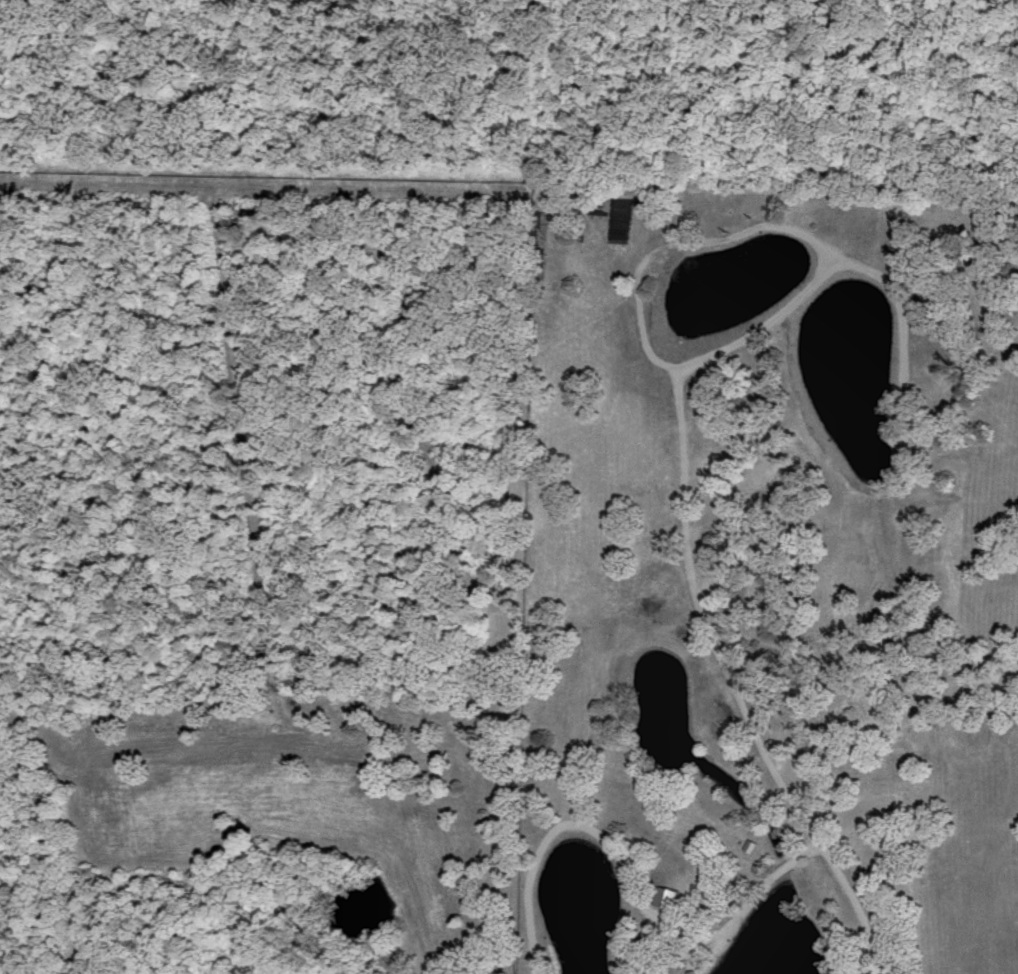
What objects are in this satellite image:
road: (808, 858)
building: (669, 896)

